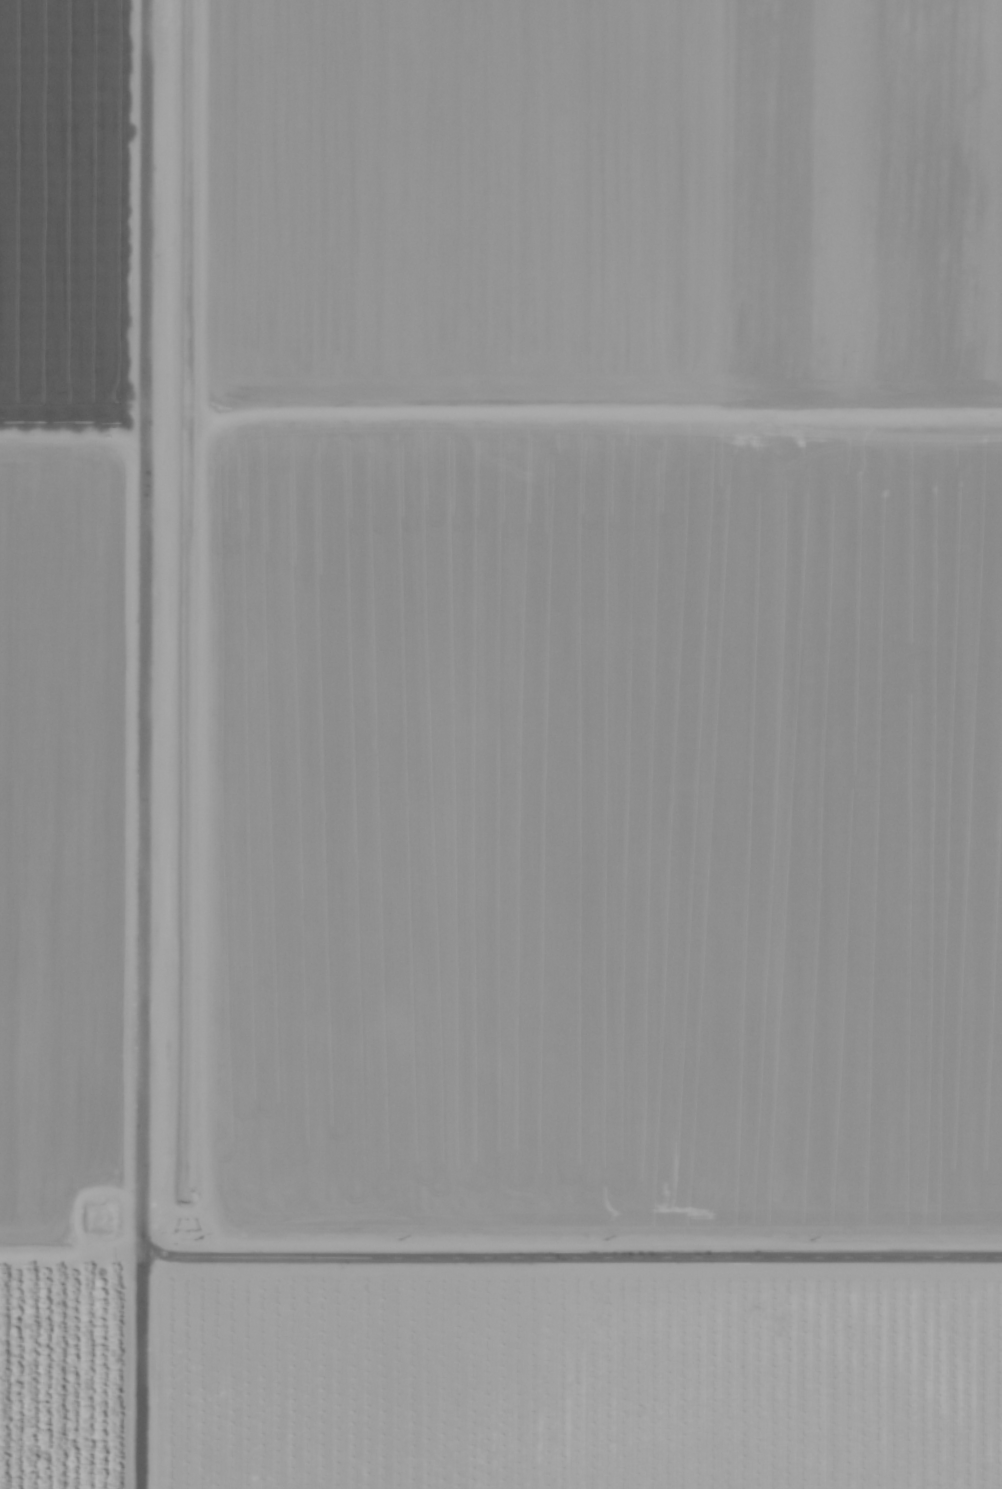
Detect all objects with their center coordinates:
crop: (599, 620)
crop: (64, 741)
road: (144, 744)
road: (71, 1257)
road: (572, 1258)

